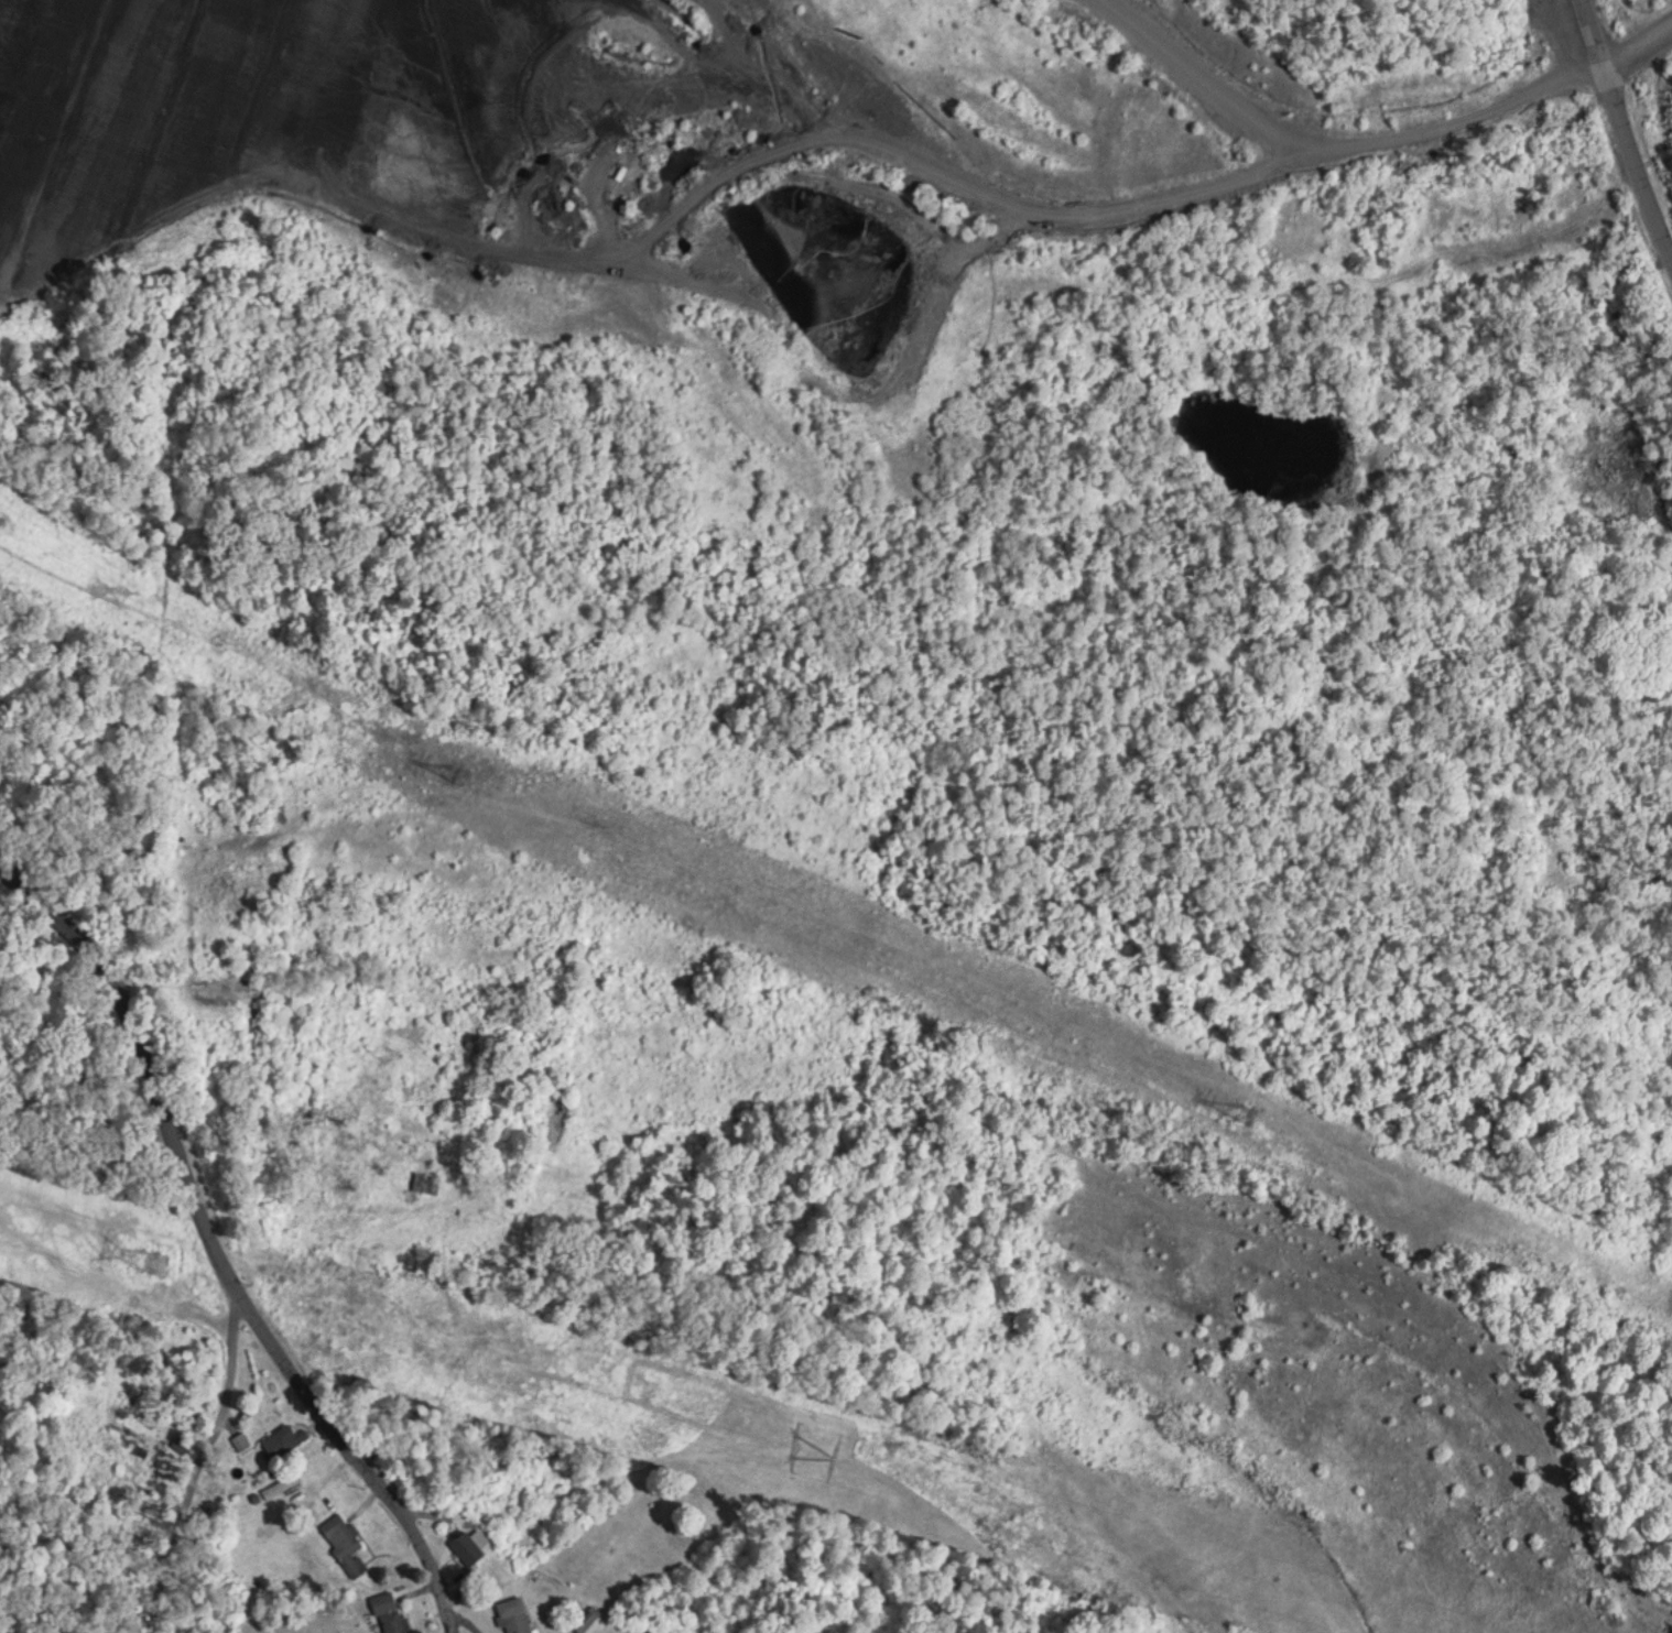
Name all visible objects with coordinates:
road: (1619, 127)
building: (1, 518)
road: (296, 739)
power tower: (450, 772)
power tower: (1239, 1102)
building: (425, 1182)
power tower: (140, 1244)
road: (207, 1265)
building: (286, 1437)
road: (159, 1438)
power tower: (816, 1443)
building: (283, 1482)
building: (468, 1545)
building: (390, 1611)
building: (515, 1613)

